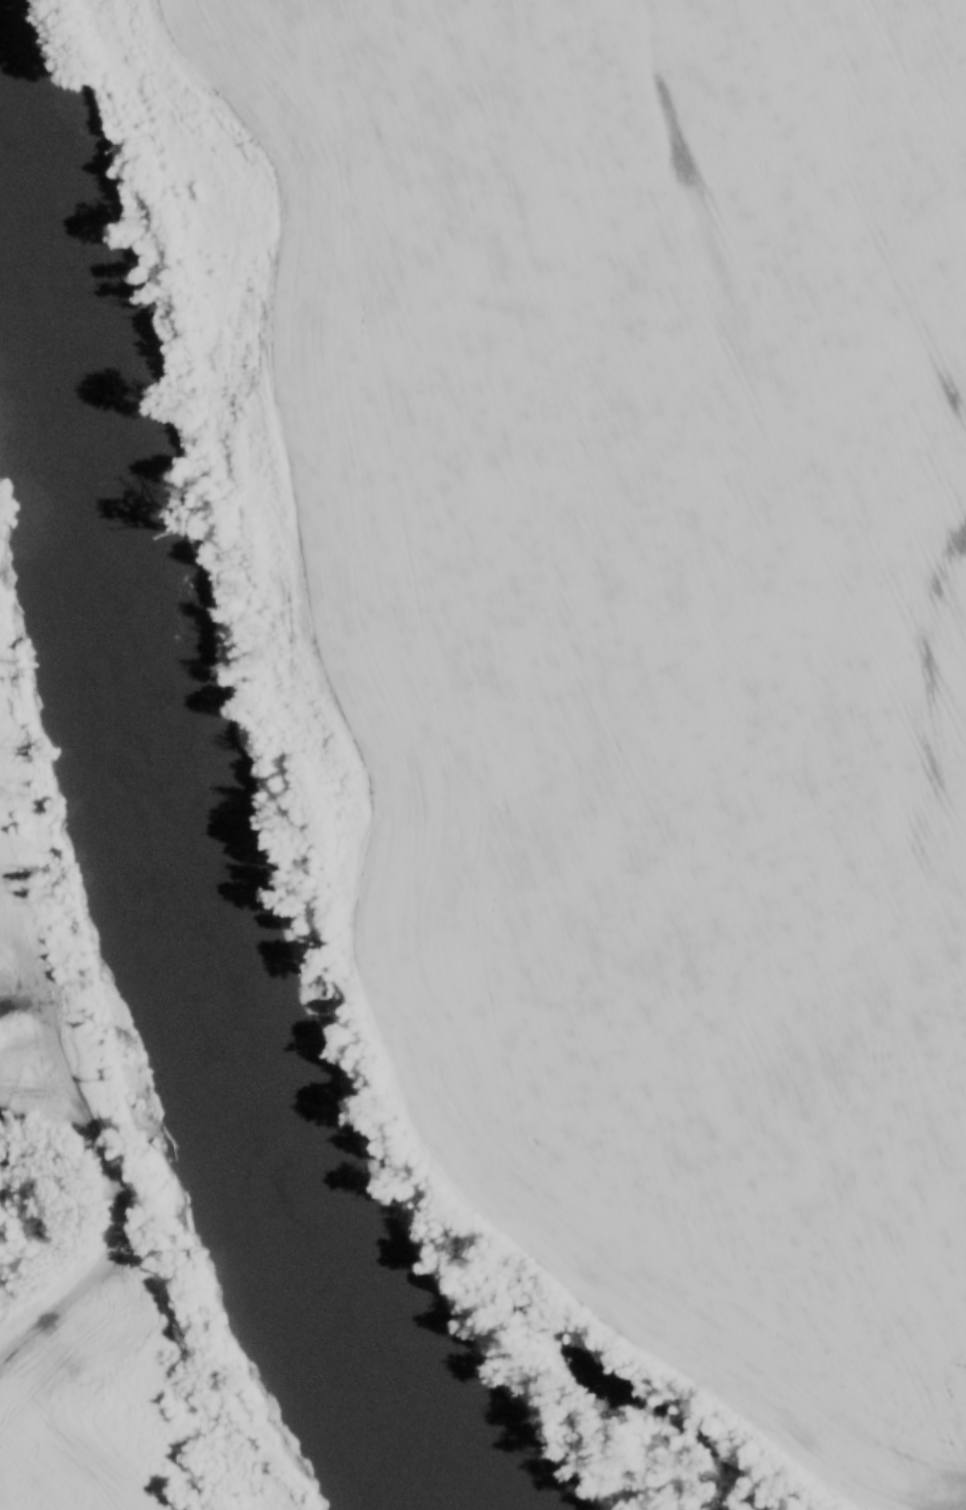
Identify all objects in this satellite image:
river: (173, 882)
road: (104, 1242)

